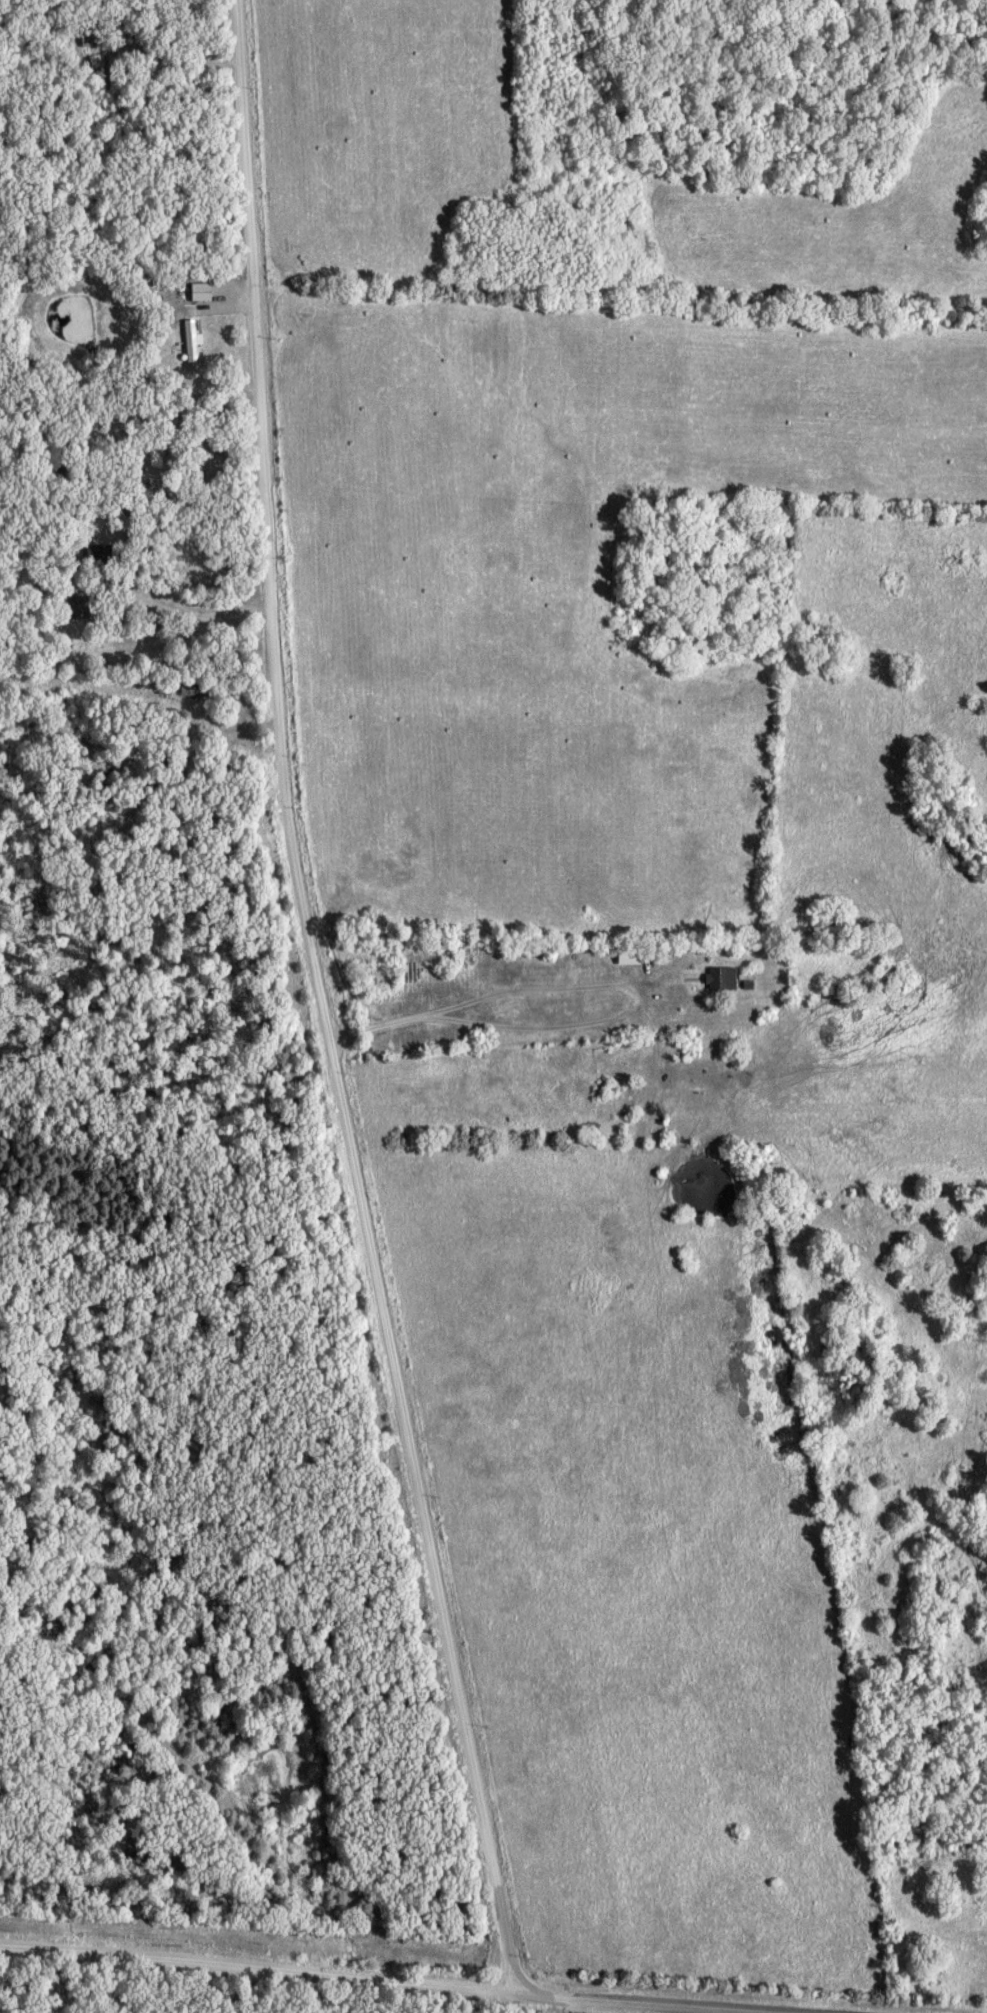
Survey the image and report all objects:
building: (193, 344)
building: (80, 607)
road: (190, 607)
building: (724, 978)
road: (326, 1002)
road: (629, 1014)
road: (381, 1023)
road: (259, 1965)
road: (577, 1997)
road: (635, 2008)
road: (721, 2008)

